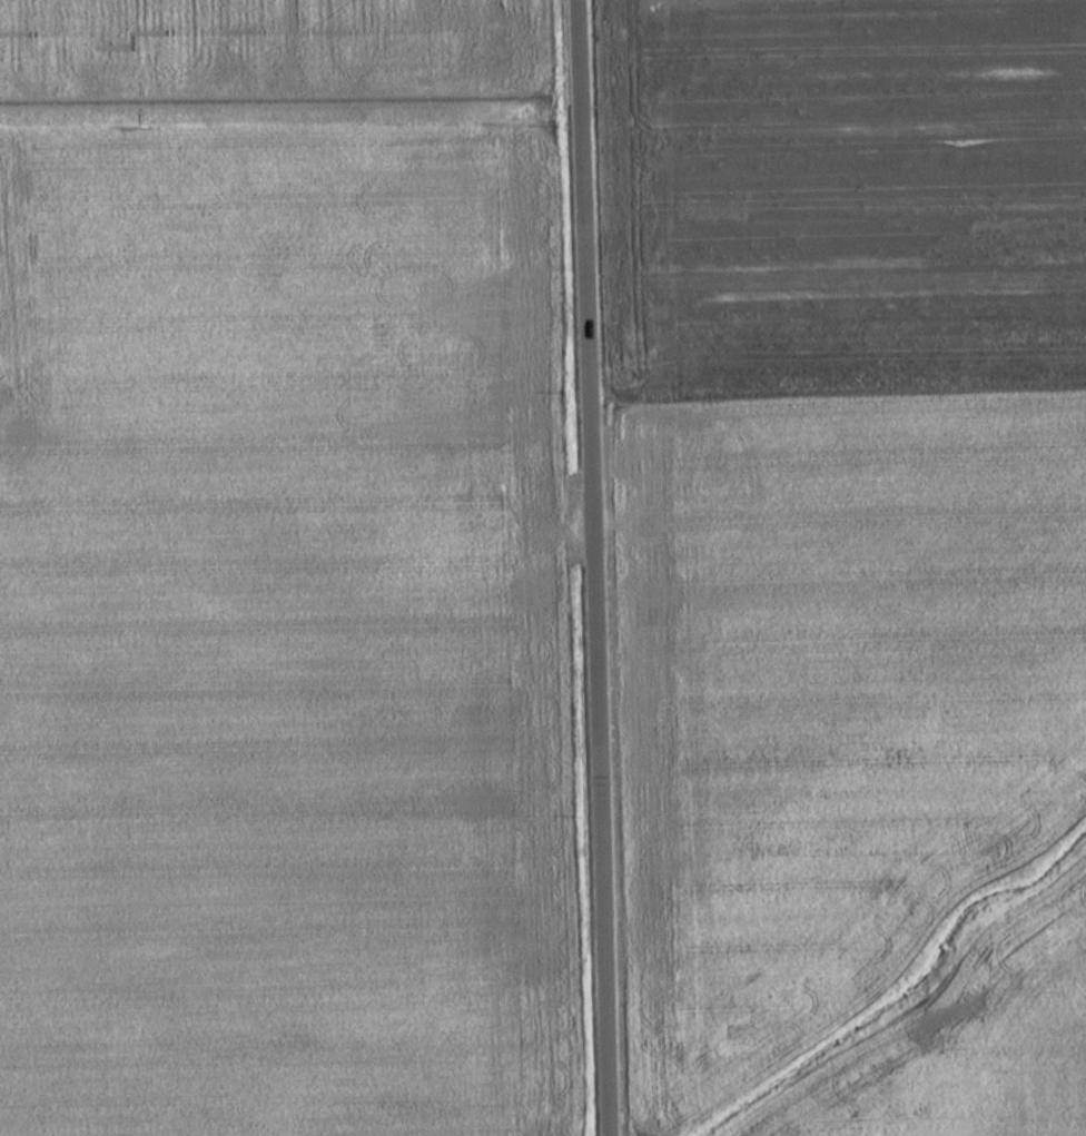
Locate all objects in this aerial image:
crop: (830, 497)
road: (583, 567)
crop: (269, 572)
crop: (974, 1045)

